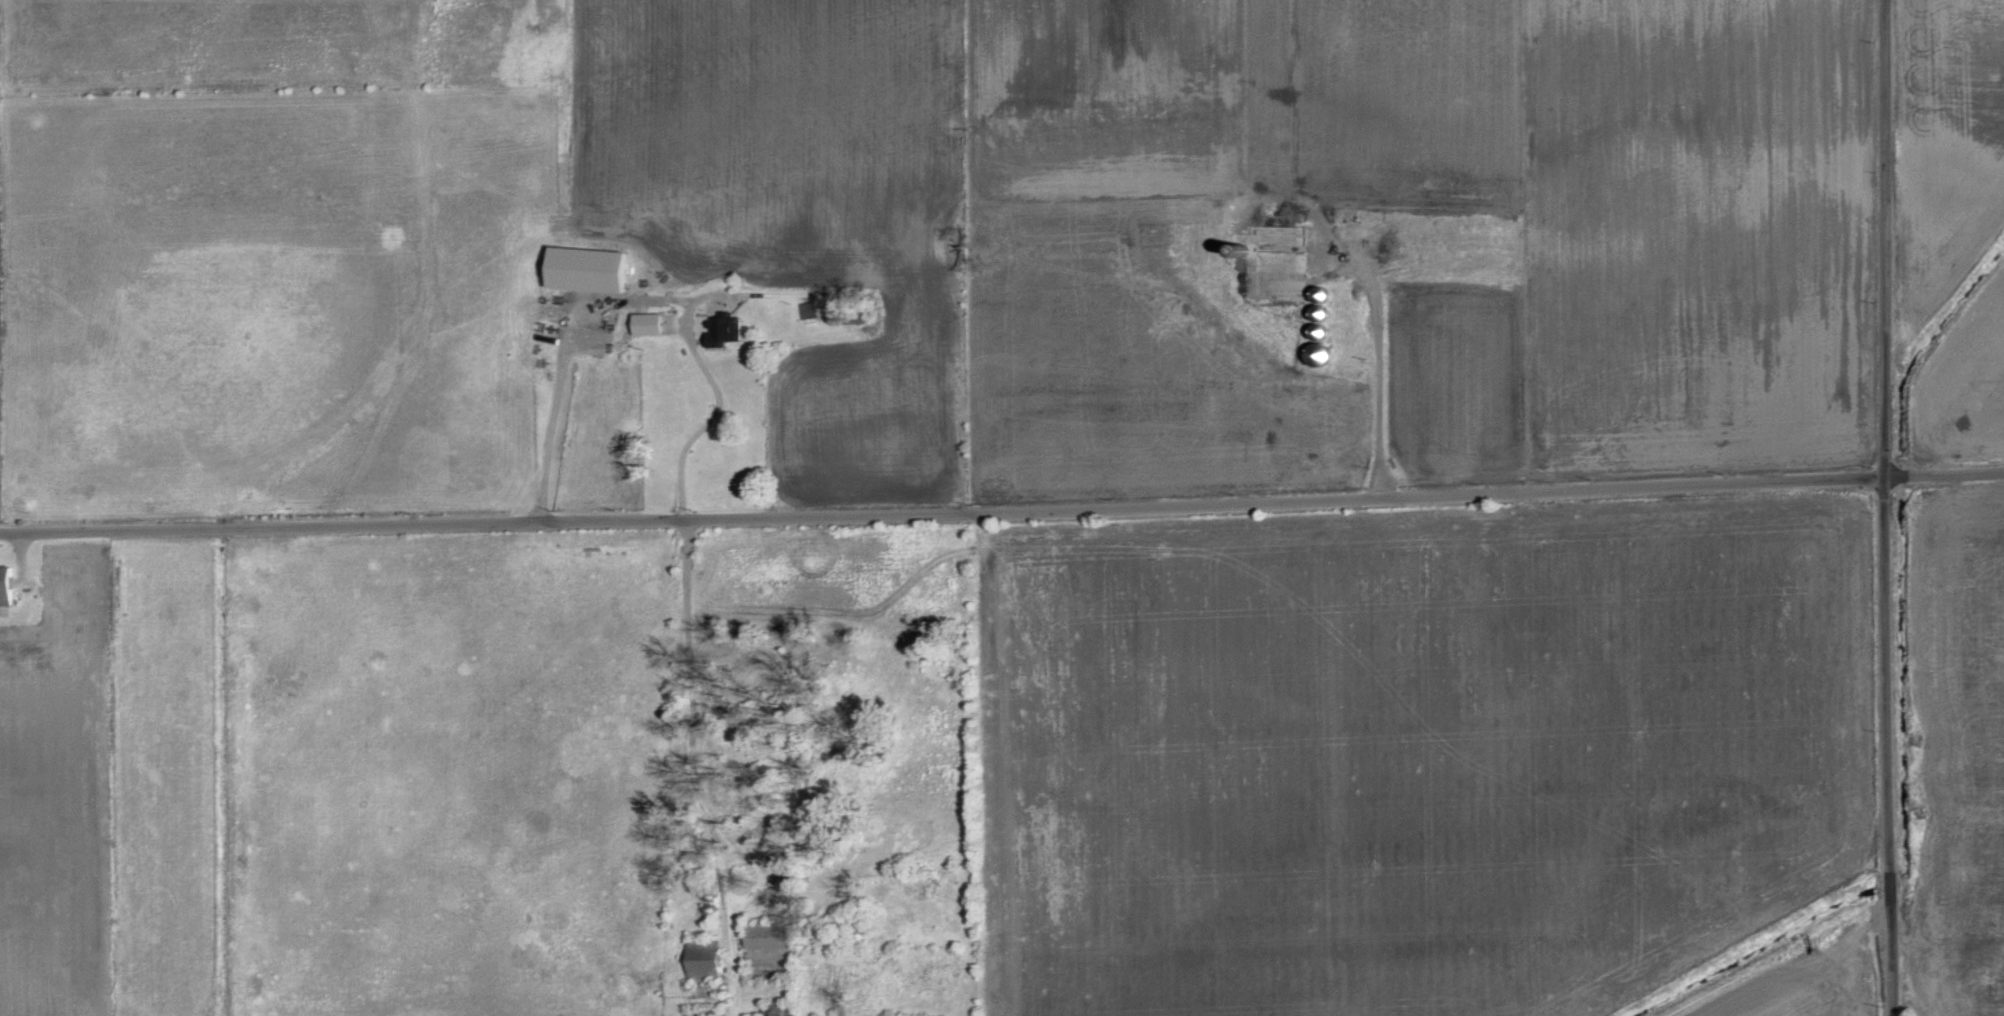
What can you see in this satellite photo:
building: (1282, 247)
building: (587, 269)
building: (648, 324)
building: (724, 330)
road: (1378, 378)
road: (709, 420)
road: (552, 421)
road: (1002, 508)
road: (1887, 508)
building: (5, 586)
road: (697, 737)
building: (769, 937)
building: (704, 960)

